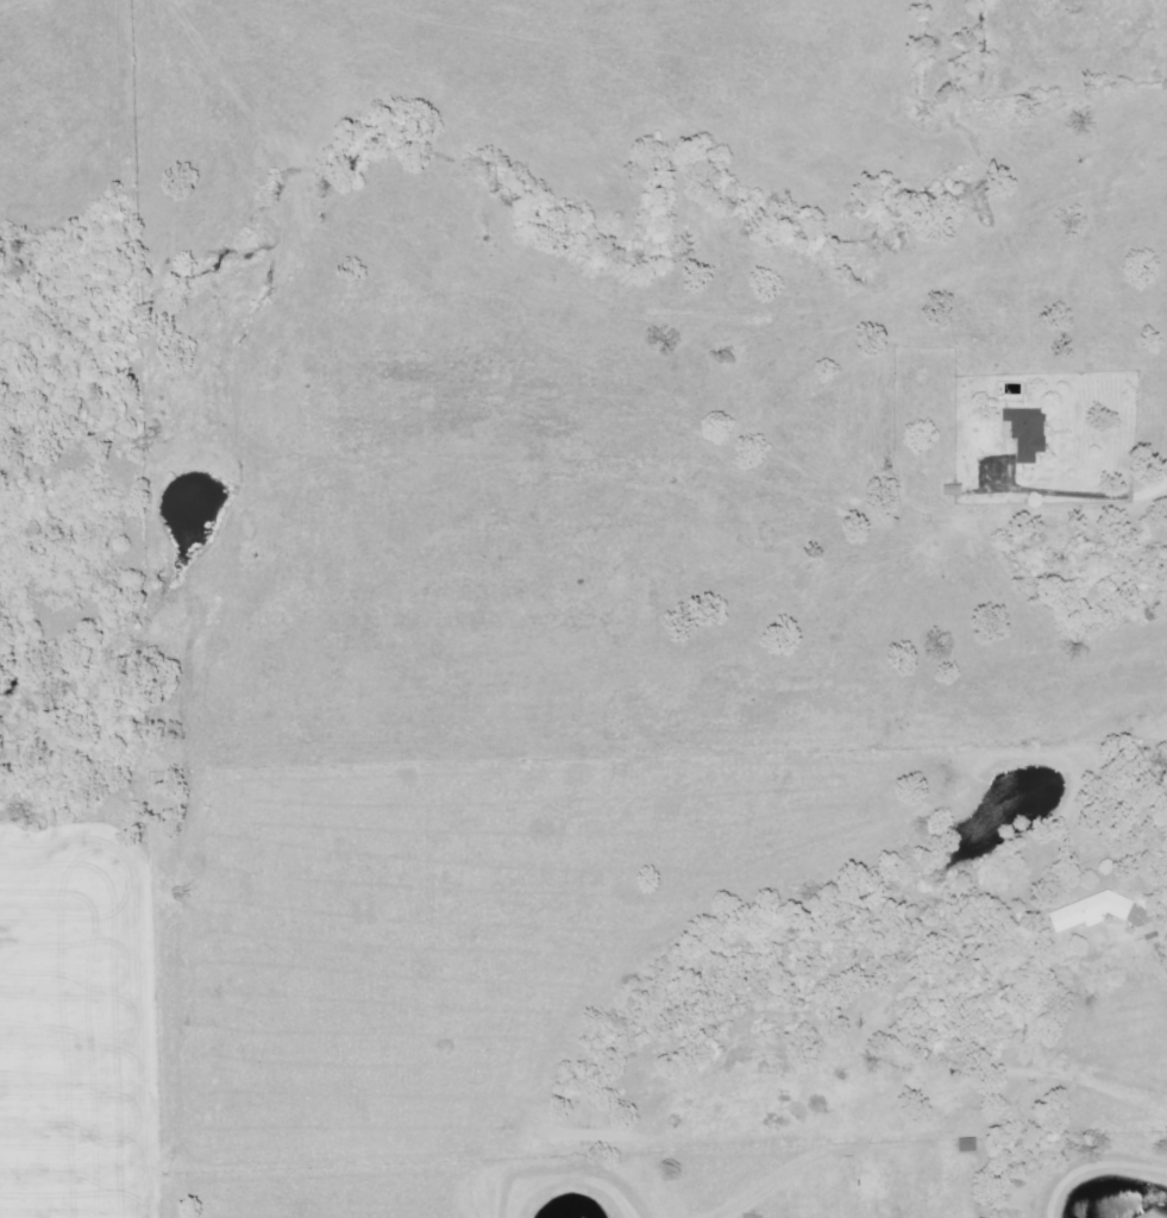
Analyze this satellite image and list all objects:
building: (1027, 433)
building: (1090, 911)

